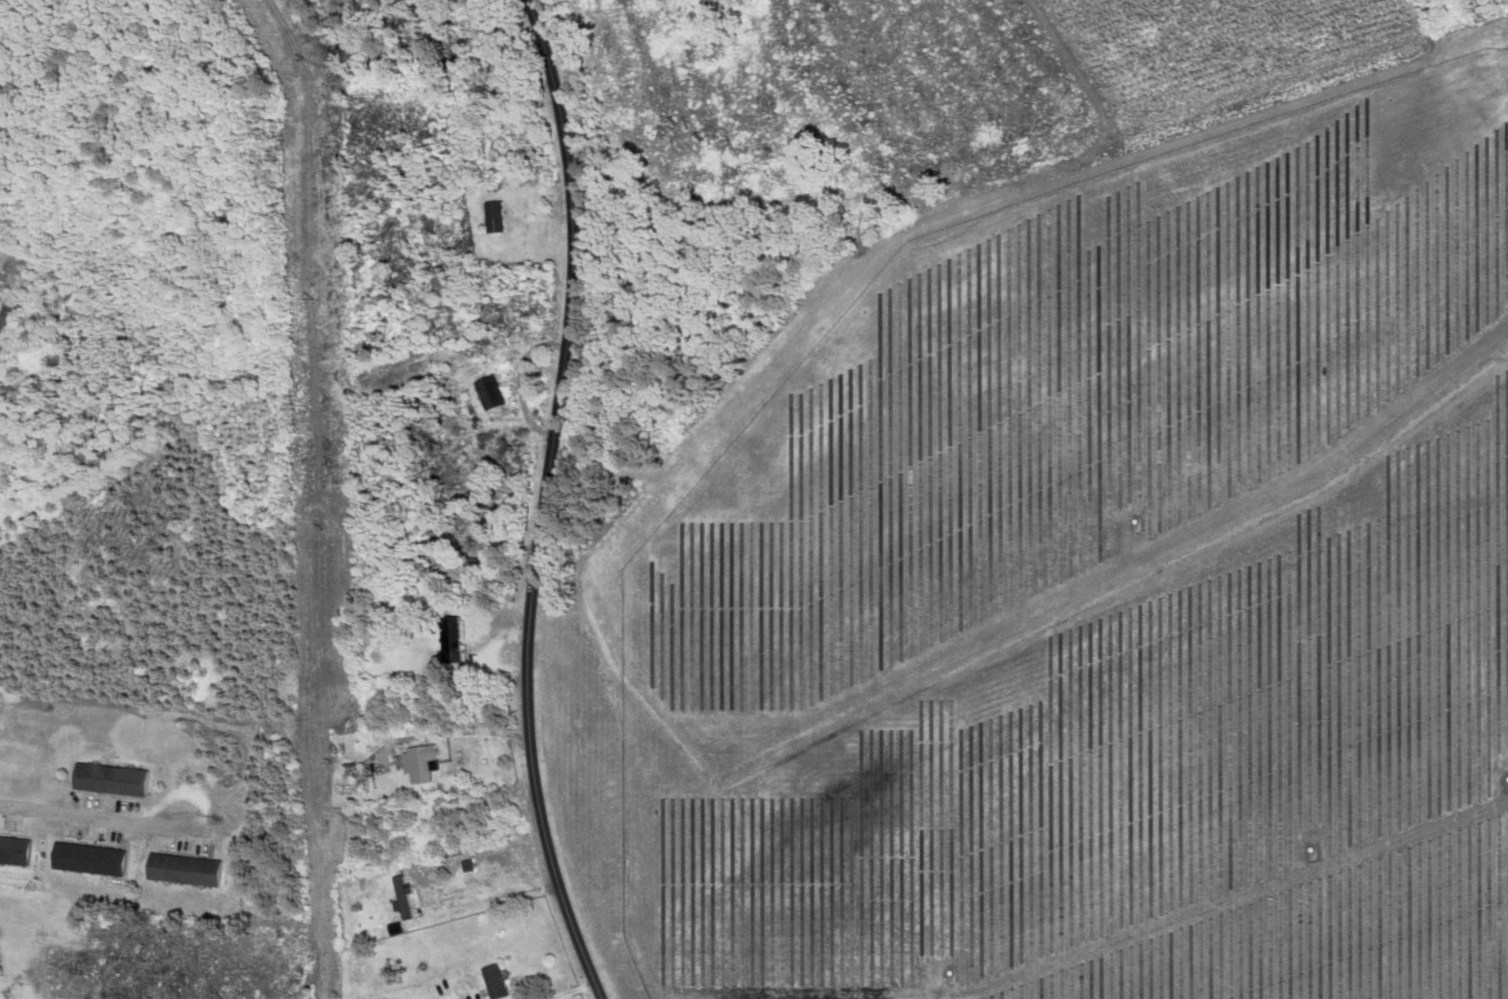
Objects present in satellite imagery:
building: (494, 217)
building: (489, 392)
road: (544, 501)
building: (457, 562)
building: (449, 640)
building: (418, 764)
building: (109, 779)
road: (83, 814)
building: (13, 850)
building: (86, 858)
building: (182, 869)
building: (400, 896)
building: (491, 981)

